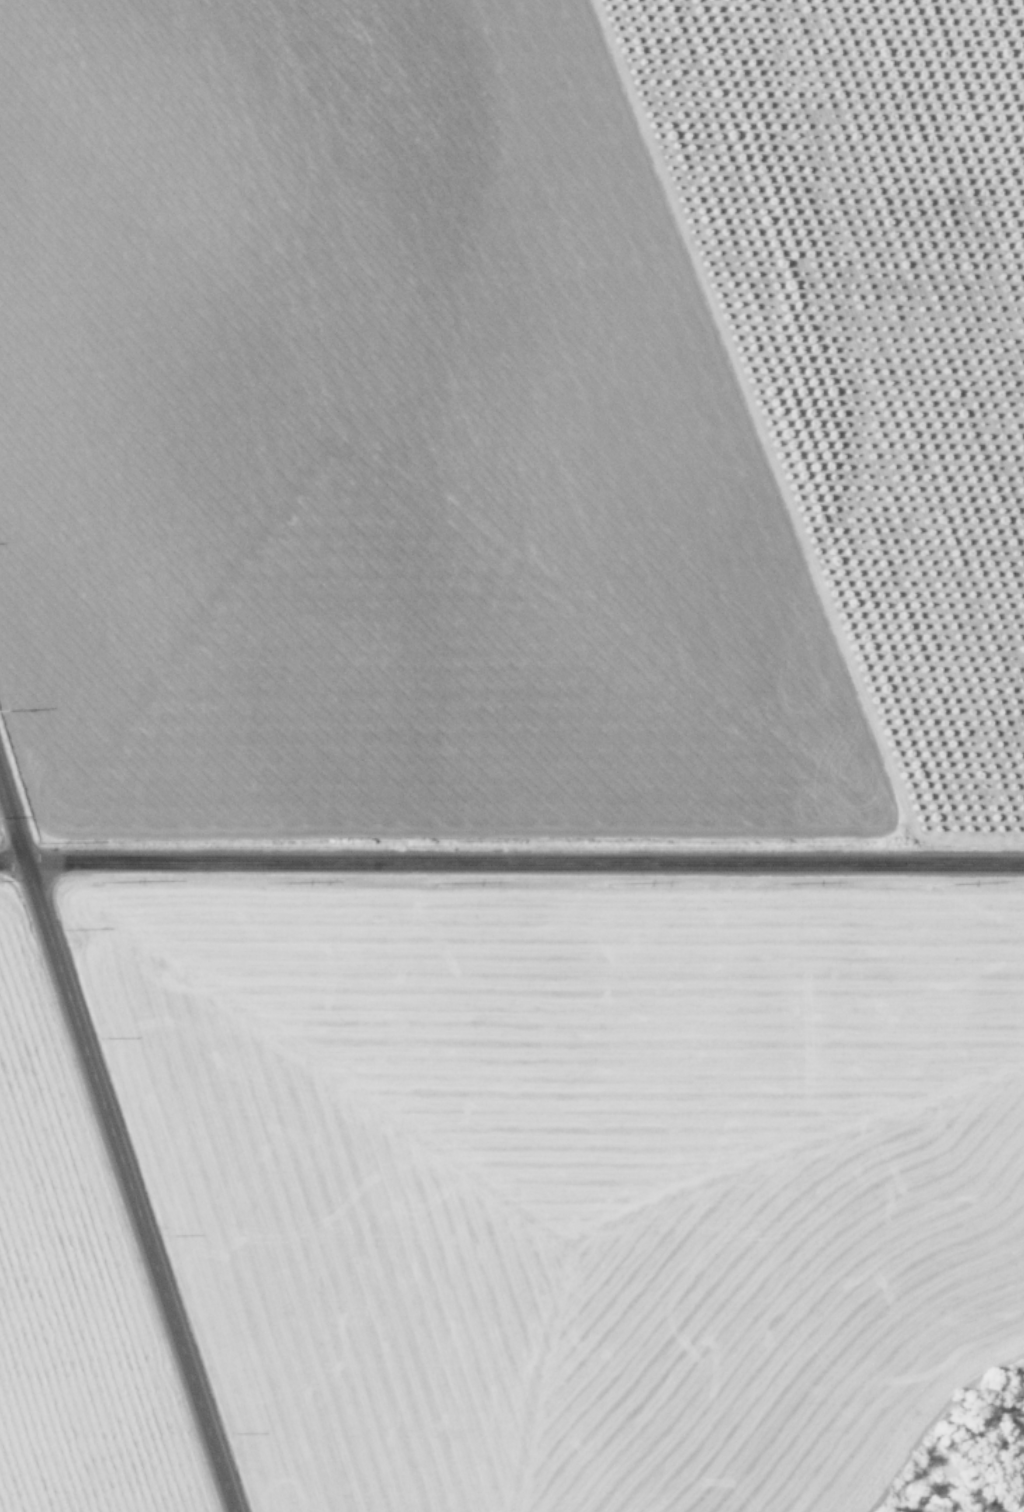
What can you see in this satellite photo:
crop: (514, 413)
road: (511, 868)
road: (115, 1151)
crop: (52, 1353)

